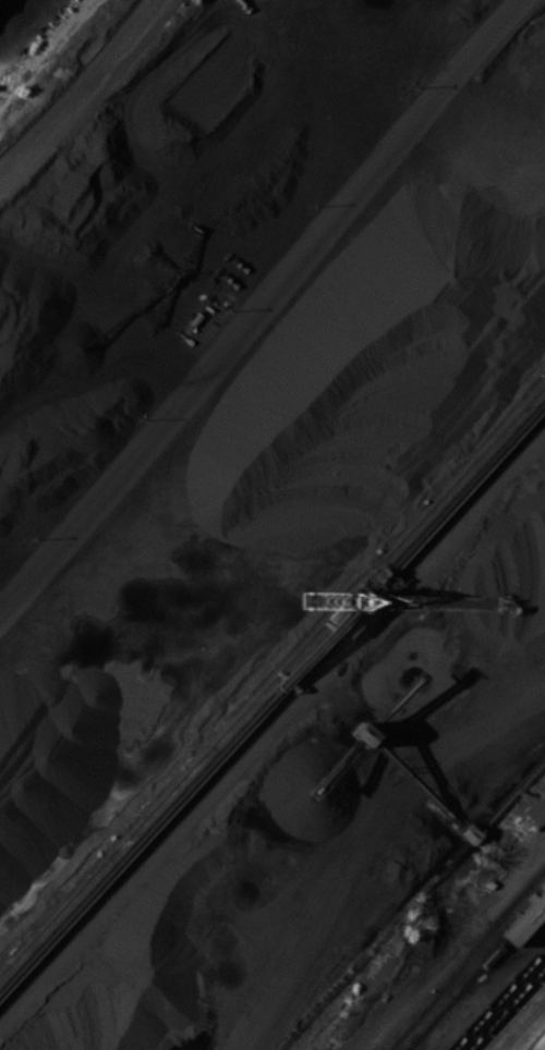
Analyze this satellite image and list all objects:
road: (83, 86)
railway: (56, 167)
road: (261, 300)
building: (365, 732)
building: (419, 784)
building: (537, 808)
building: (471, 833)
railway: (505, 913)
building: (526, 919)
railway: (526, 919)
railway: (467, 985)
railway: (497, 998)
railway: (426, 1004)
railway: (504, 1005)
railway: (512, 1015)
railway: (521, 1024)
railway: (416, 1039)
railway: (408, 1049)

